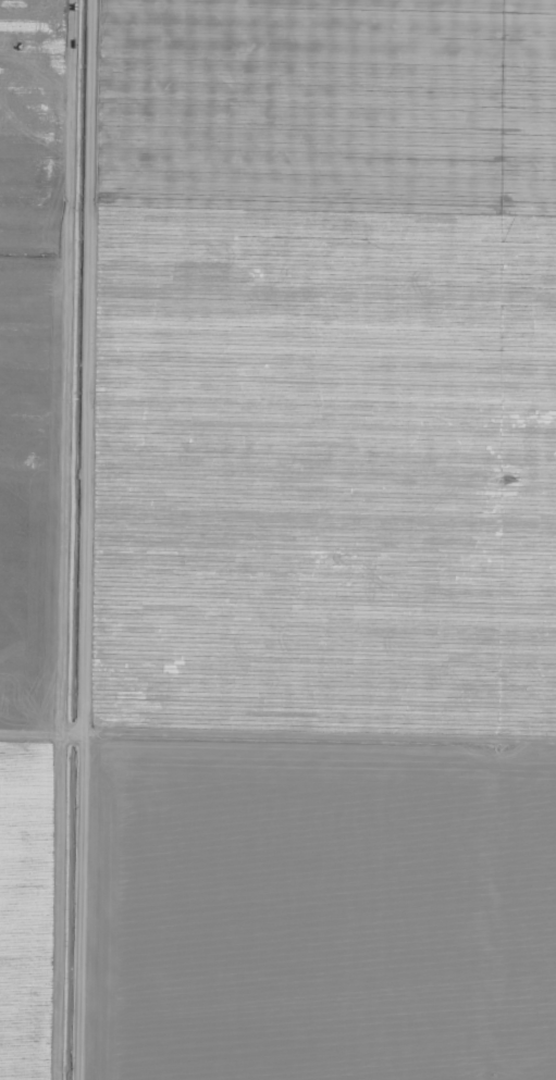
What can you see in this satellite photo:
crop: (277, 539)

